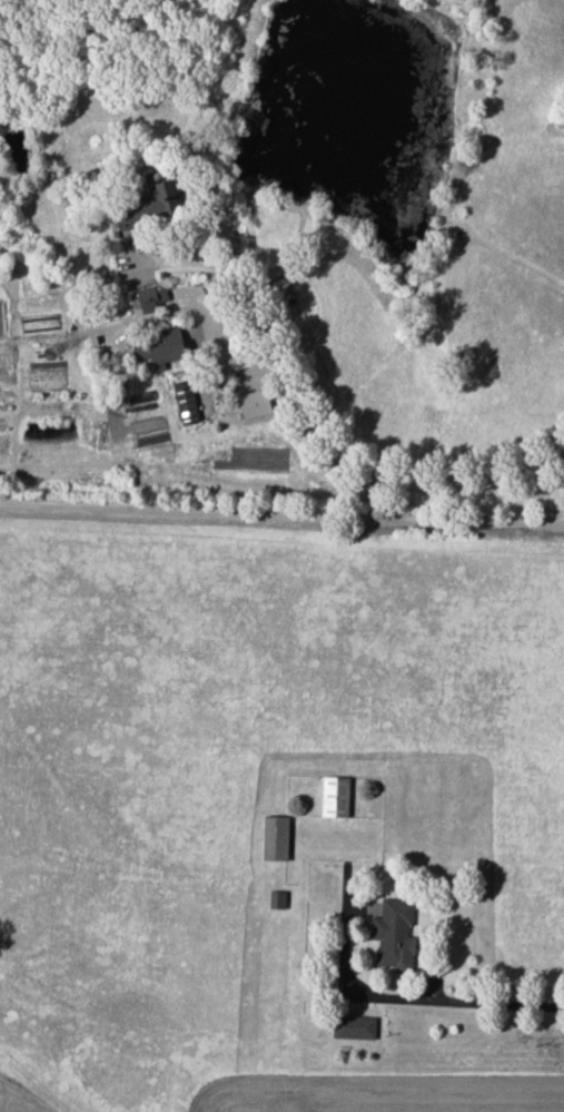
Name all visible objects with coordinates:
building: (149, 205)
building: (148, 298)
building: (167, 348)
building: (185, 402)
road: (309, 419)
road: (281, 515)
building: (334, 797)
building: (275, 838)
building: (394, 935)
road: (492, 1004)
building: (353, 1027)

